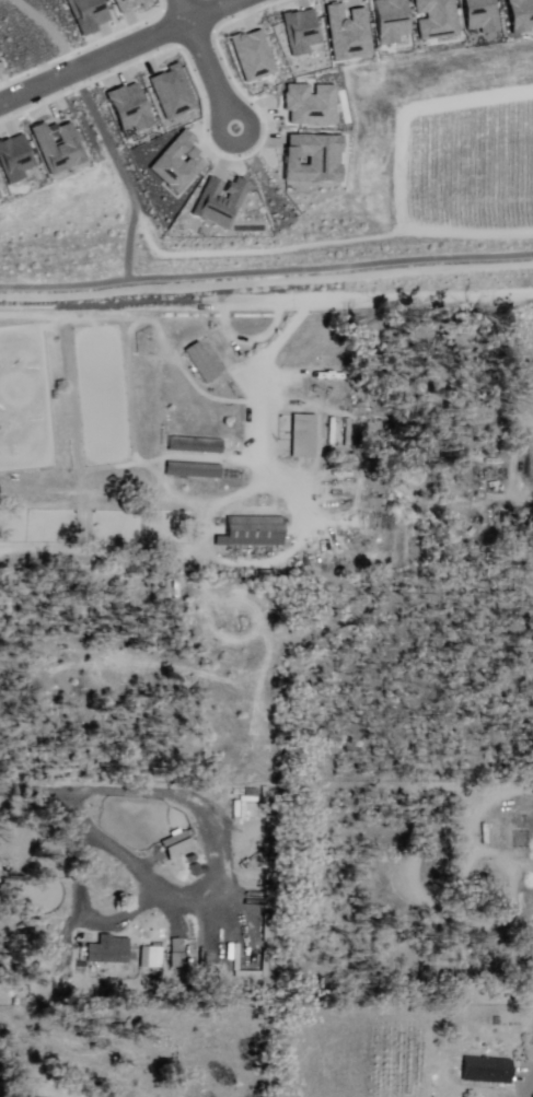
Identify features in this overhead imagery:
building: (125, 7)
road: (193, 10)
building: (89, 13)
building: (523, 14)
building: (440, 17)
building: (482, 17)
building: (397, 24)
building: (348, 26)
building: (303, 30)
road: (120, 54)
building: (257, 55)
road: (220, 73)
building: (170, 94)
building: (306, 104)
building: (129, 110)
building: (59, 147)
building: (316, 159)
building: (18, 163)
building: (176, 164)
building: (223, 205)
road: (266, 281)
building: (201, 364)
building: (320, 371)
park: (102, 395)
park: (25, 399)
building: (302, 436)
building: (195, 446)
building: (194, 470)
building: (252, 533)
building: (259, 810)
road: (86, 825)
building: (175, 847)
building: (196, 870)
building: (80, 903)
building: (108, 952)
building: (177, 955)
building: (154, 959)
crop: (350, 1060)
building: (487, 1073)
road: (525, 1093)

